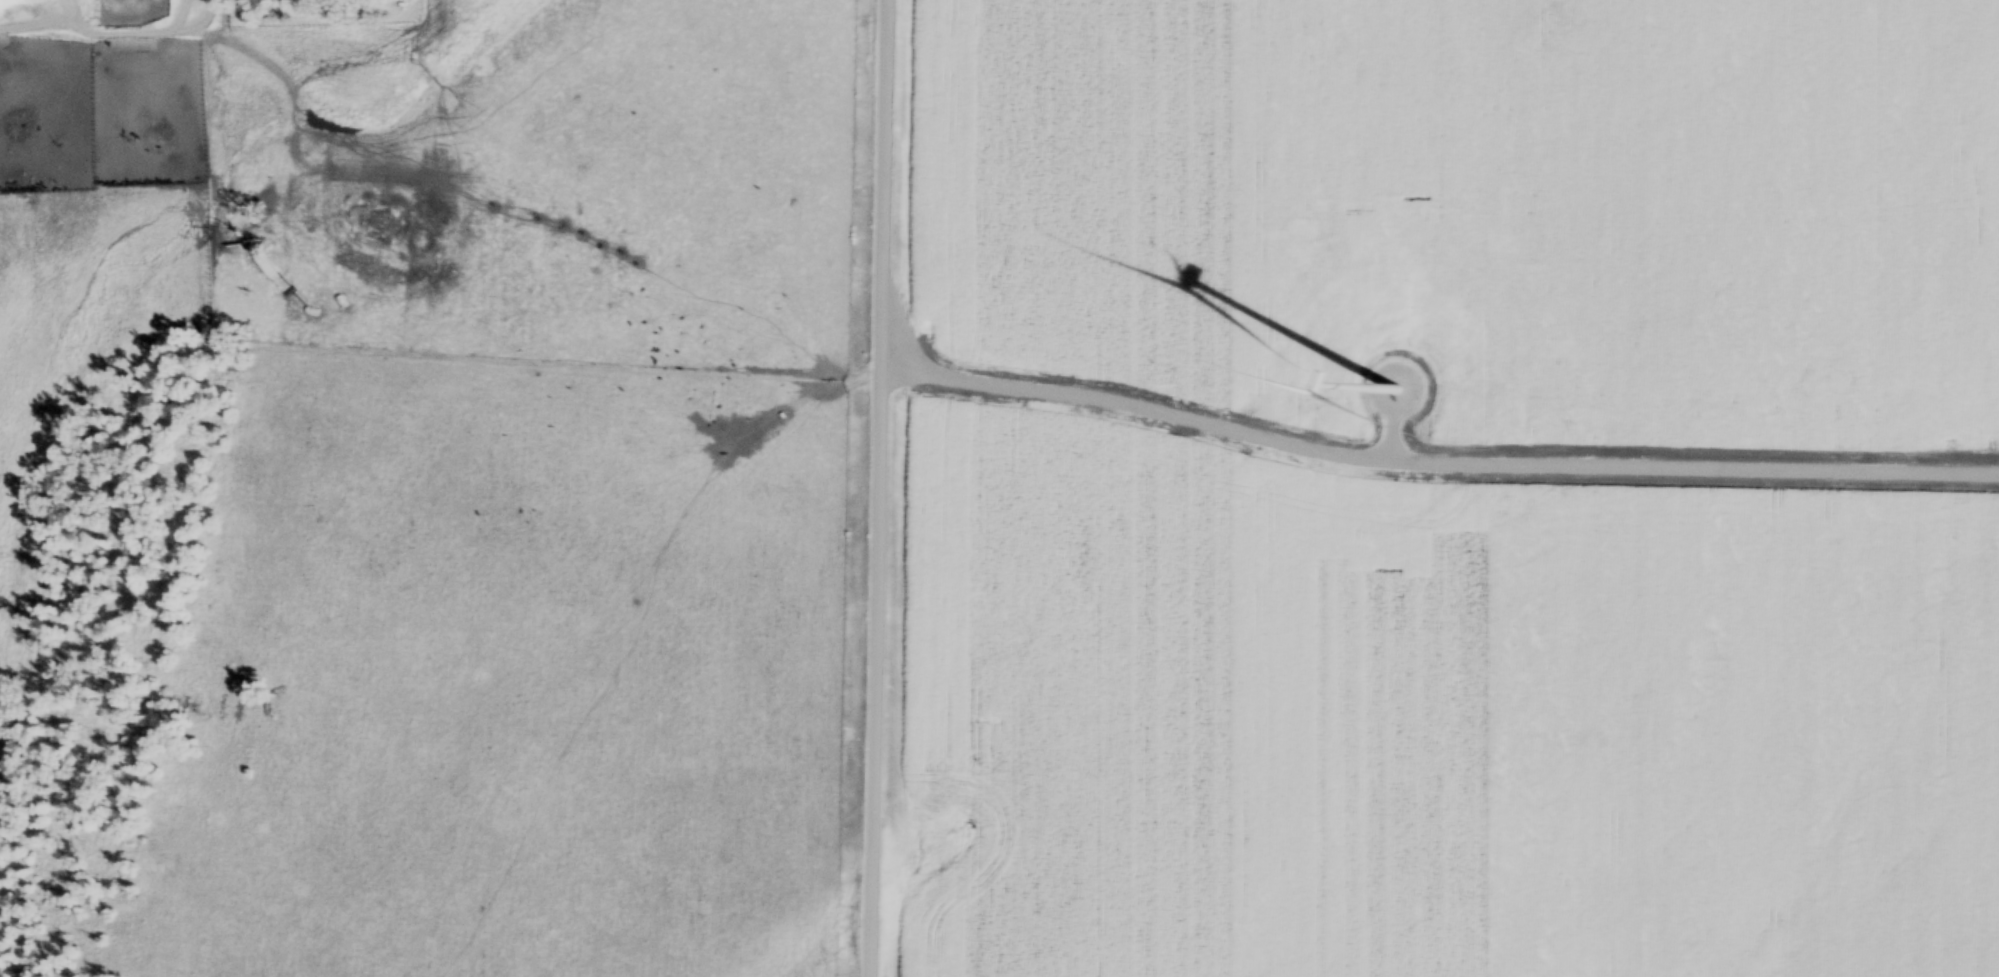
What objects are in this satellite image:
building: (0, 9)
building: (266, 269)
wind turbine: (1387, 393)
road: (881, 488)

